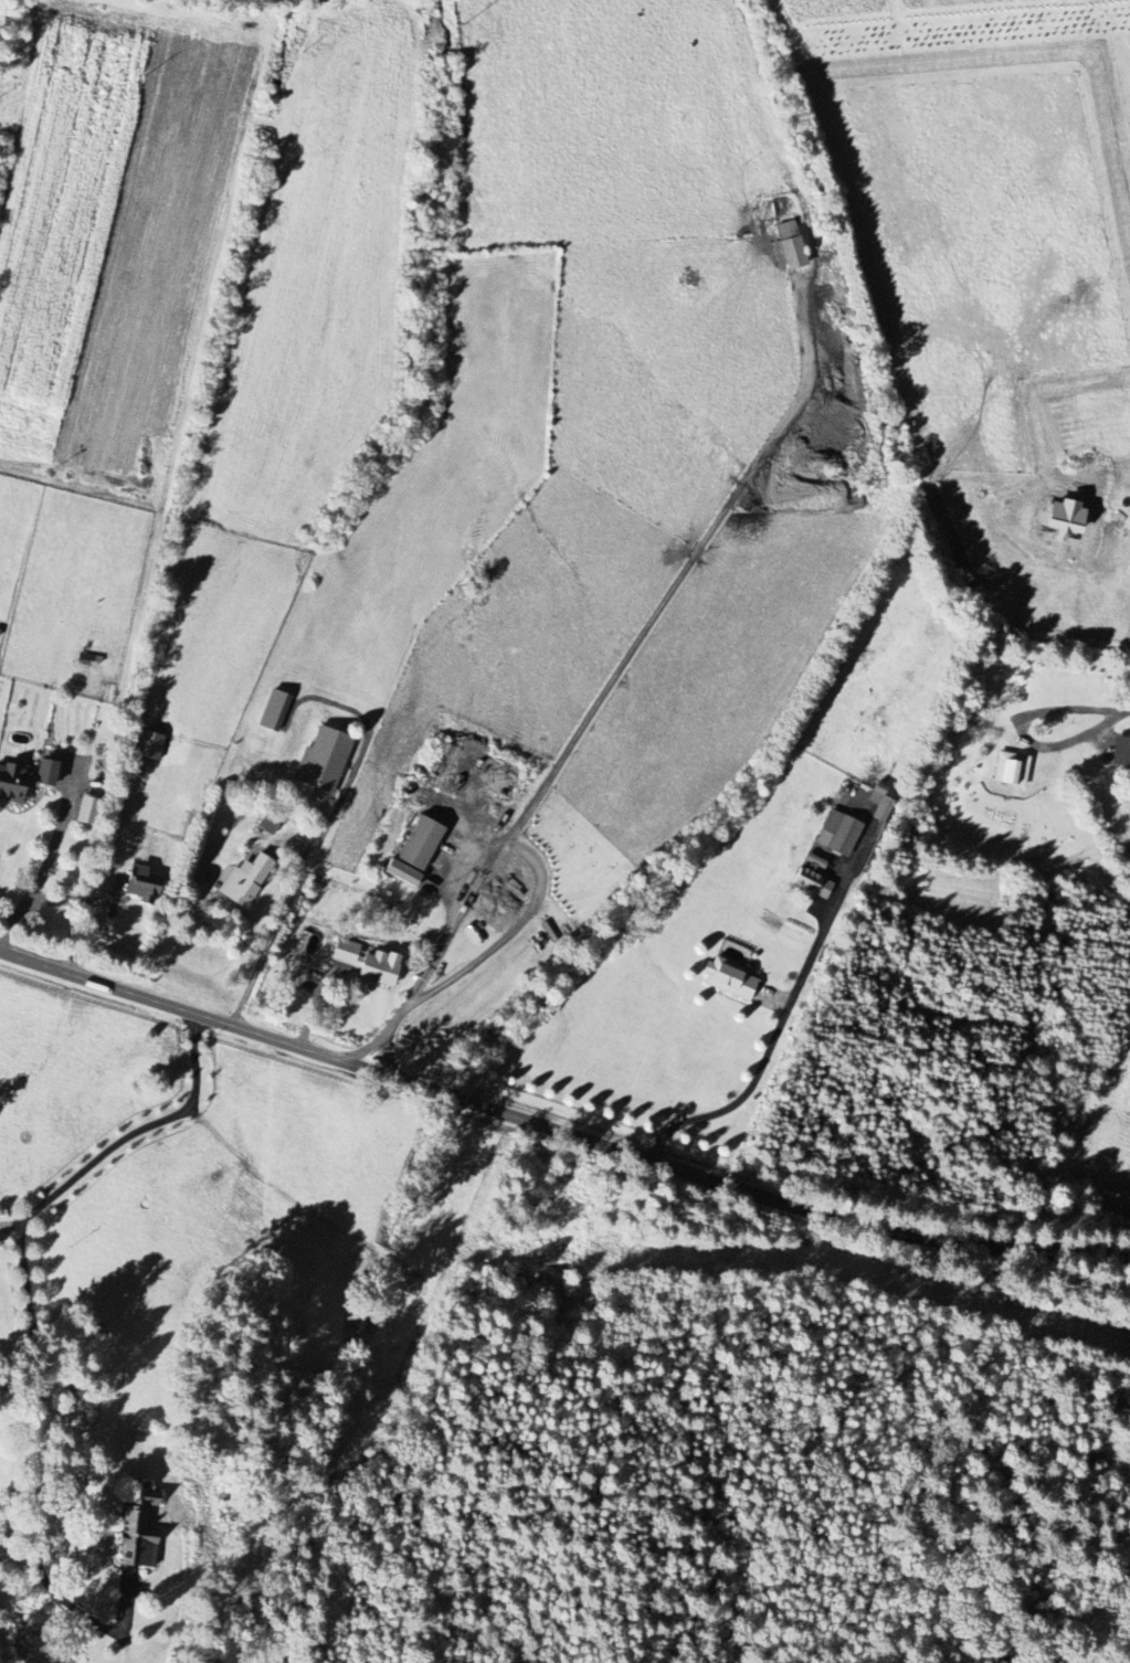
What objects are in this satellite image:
building: (790, 245)
building: (1065, 518)
building: (273, 709)
road: (1129, 711)
road: (1025, 729)
building: (147, 746)
building: (1120, 752)
building: (324, 760)
building: (1011, 770)
building: (44, 774)
building: (13, 784)
building: (880, 803)
building: (87, 812)
building: (272, 822)
building: (838, 834)
building: (420, 845)
road: (508, 848)
road: (47, 857)
building: (402, 875)
building: (245, 881)
building: (813, 883)
building: (142, 886)
road: (81, 898)
road: (274, 934)
building: (366, 964)
building: (729, 979)
road: (384, 1037)
road: (773, 1041)
road: (564, 1124)
road: (128, 1135)
building: (410, 1285)
road: (28, 1475)
building: (138, 1526)

